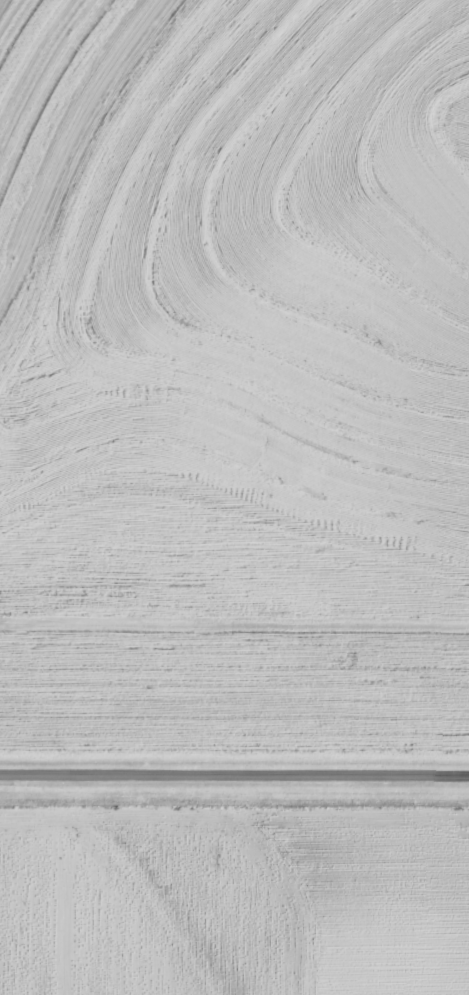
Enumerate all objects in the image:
road: (234, 775)

